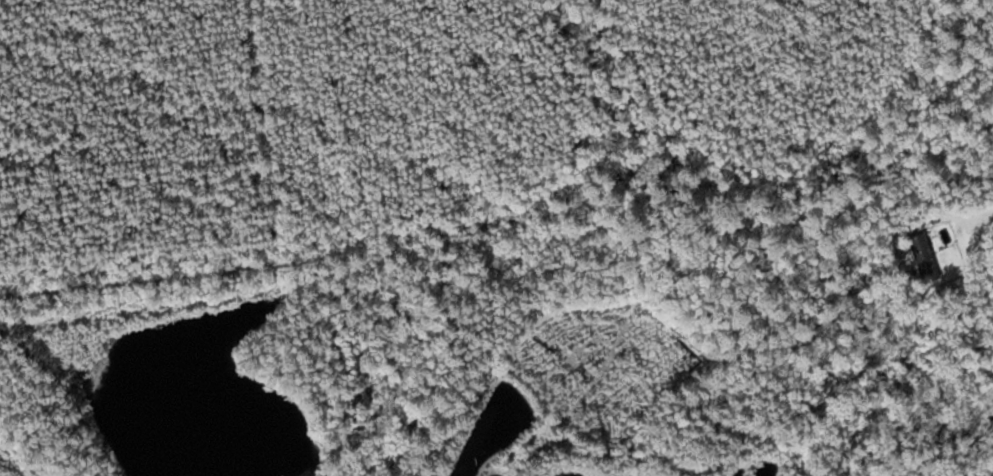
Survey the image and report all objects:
building: (920, 257)

